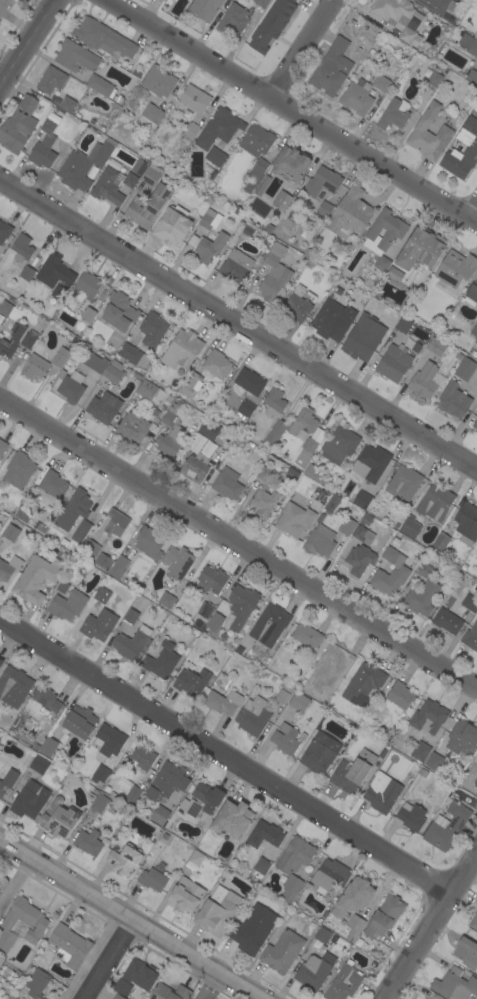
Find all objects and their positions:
building: (260, 2)
building: (434, 5)
building: (3, 6)
building: (204, 8)
building: (394, 9)
building: (232, 19)
building: (269, 27)
building: (406, 35)
building: (475, 35)
building: (102, 37)
road: (28, 44)
building: (469, 44)
road: (302, 48)
building: (75, 56)
building: (331, 67)
building: (471, 75)
building: (434, 79)
building: (51, 80)
building: (158, 82)
building: (381, 82)
building: (103, 88)
building: (356, 96)
building: (194, 98)
building: (67, 104)
road: (292, 109)
building: (152, 113)
building: (394, 113)
building: (224, 124)
building: (18, 125)
building: (190, 130)
building: (428, 133)
building: (256, 140)
building: (202, 141)
building: (44, 146)
building: (470, 150)
building: (214, 158)
building: (291, 163)
building: (83, 165)
building: (138, 166)
building: (259, 168)
building: (148, 177)
building: (322, 182)
building: (111, 185)
building: (262, 185)
building: (281, 200)
building: (260, 204)
building: (148, 206)
building: (324, 209)
building: (354, 211)
road: (474, 215)
building: (209, 219)
building: (172, 225)
building: (395, 229)
building: (4, 231)
building: (207, 246)
building: (22, 248)
building: (421, 249)
building: (307, 253)
building: (382, 263)
building: (236, 266)
building: (54, 271)
building: (26, 273)
building: (274, 273)
building: (454, 273)
building: (394, 274)
building: (88, 284)
building: (337, 290)
building: (473, 291)
building: (56, 294)
building: (297, 304)
building: (5, 308)
building: (119, 311)
building: (88, 314)
building: (1, 317)
building: (332, 320)
road: (238, 324)
building: (402, 325)
building: (152, 330)
building: (474, 330)
building: (0, 337)
building: (12, 339)
building: (28, 339)
building: (360, 339)
building: (435, 346)
building: (182, 349)
building: (133, 356)
building: (60, 357)
building: (95, 362)
building: (394, 362)
building: (216, 364)
building: (34, 366)
building: (464, 369)
building: (113, 371)
building: (250, 381)
building: (424, 381)
building: (191, 383)
building: (69, 386)
building: (150, 391)
building: (453, 400)
building: (103, 407)
building: (246, 408)
building: (274, 414)
building: (303, 421)
building: (475, 425)
building: (132, 427)
building: (208, 429)
building: (169, 436)
building: (200, 438)
building: (339, 444)
building: (309, 445)
building: (2, 447)
building: (371, 463)
building: (195, 466)
building: (18, 470)
building: (264, 473)
building: (314, 474)
building: (403, 482)
building: (52, 484)
building: (227, 484)
building: (362, 500)
building: (265, 502)
building: (435, 502)
building: (331, 503)
building: (73, 509)
building: (23, 513)
building: (320, 517)
building: (294, 519)
building: (115, 523)
building: (466, 523)
building: (347, 526)
building: (410, 527)
building: (363, 530)
building: (81, 531)
building: (11, 532)
building: (319, 540)
building: (149, 542)
building: (440, 542)
road: (238, 545)
building: (90, 546)
building: (359, 559)
building: (103, 561)
building: (177, 562)
building: (9, 567)
building: (117, 567)
building: (422, 569)
building: (390, 573)
building: (37, 578)
building: (210, 580)
building: (62, 586)
building: (421, 597)
building: (166, 600)
building: (469, 602)
building: (67, 605)
building: (241, 606)
building: (205, 610)
building: (130, 616)
building: (447, 621)
building: (91, 623)
building: (214, 624)
building: (269, 625)
building: (306, 635)
building: (470, 637)
building: (131, 643)
building: (238, 649)
building: (161, 660)
building: (1, 662)
building: (222, 680)
building: (191, 682)
building: (363, 684)
building: (14, 686)
building: (284, 694)
building: (400, 695)
building: (47, 699)
building: (223, 701)
building: (299, 702)
building: (252, 716)
building: (429, 716)
building: (80, 722)
building: (302, 736)
building: (462, 737)
building: (285, 739)
building: (109, 742)
building: (48, 746)
building: (420, 751)
building: (320, 752)
road: (225, 754)
building: (143, 757)
building: (434, 762)
building: (39, 765)
building: (353, 772)
building: (422, 772)
building: (99, 774)
building: (167, 781)
building: (124, 782)
building: (475, 782)
building: (3, 788)
building: (132, 795)
building: (383, 796)
building: (200, 801)
building: (29, 802)
building: (98, 802)
building: (159, 815)
building: (411, 817)
building: (59, 818)
building: (233, 818)
building: (446, 827)
building: (265, 834)
building: (88, 842)
building: (196, 858)
building: (123, 859)
building: (293, 865)
building: (260, 867)
building: (329, 876)
building: (152, 879)
road: (14, 884)
building: (185, 895)
building: (353, 896)
building: (218, 910)
building: (384, 916)
building: (473, 922)
road: (126, 923)
building: (36, 924)
road: (429, 924)
building: (353, 927)
building: (248, 935)
building: (322, 935)
building: (68, 946)
building: (465, 950)
building: (282, 952)
road: (89, 958)
road: (104, 961)
building: (314, 971)
building: (140, 974)
building: (36, 983)
building: (343, 983)
building: (455, 985)
building: (122, 987)
road: (206, 987)
building: (169, 992)
building: (118, 997)

